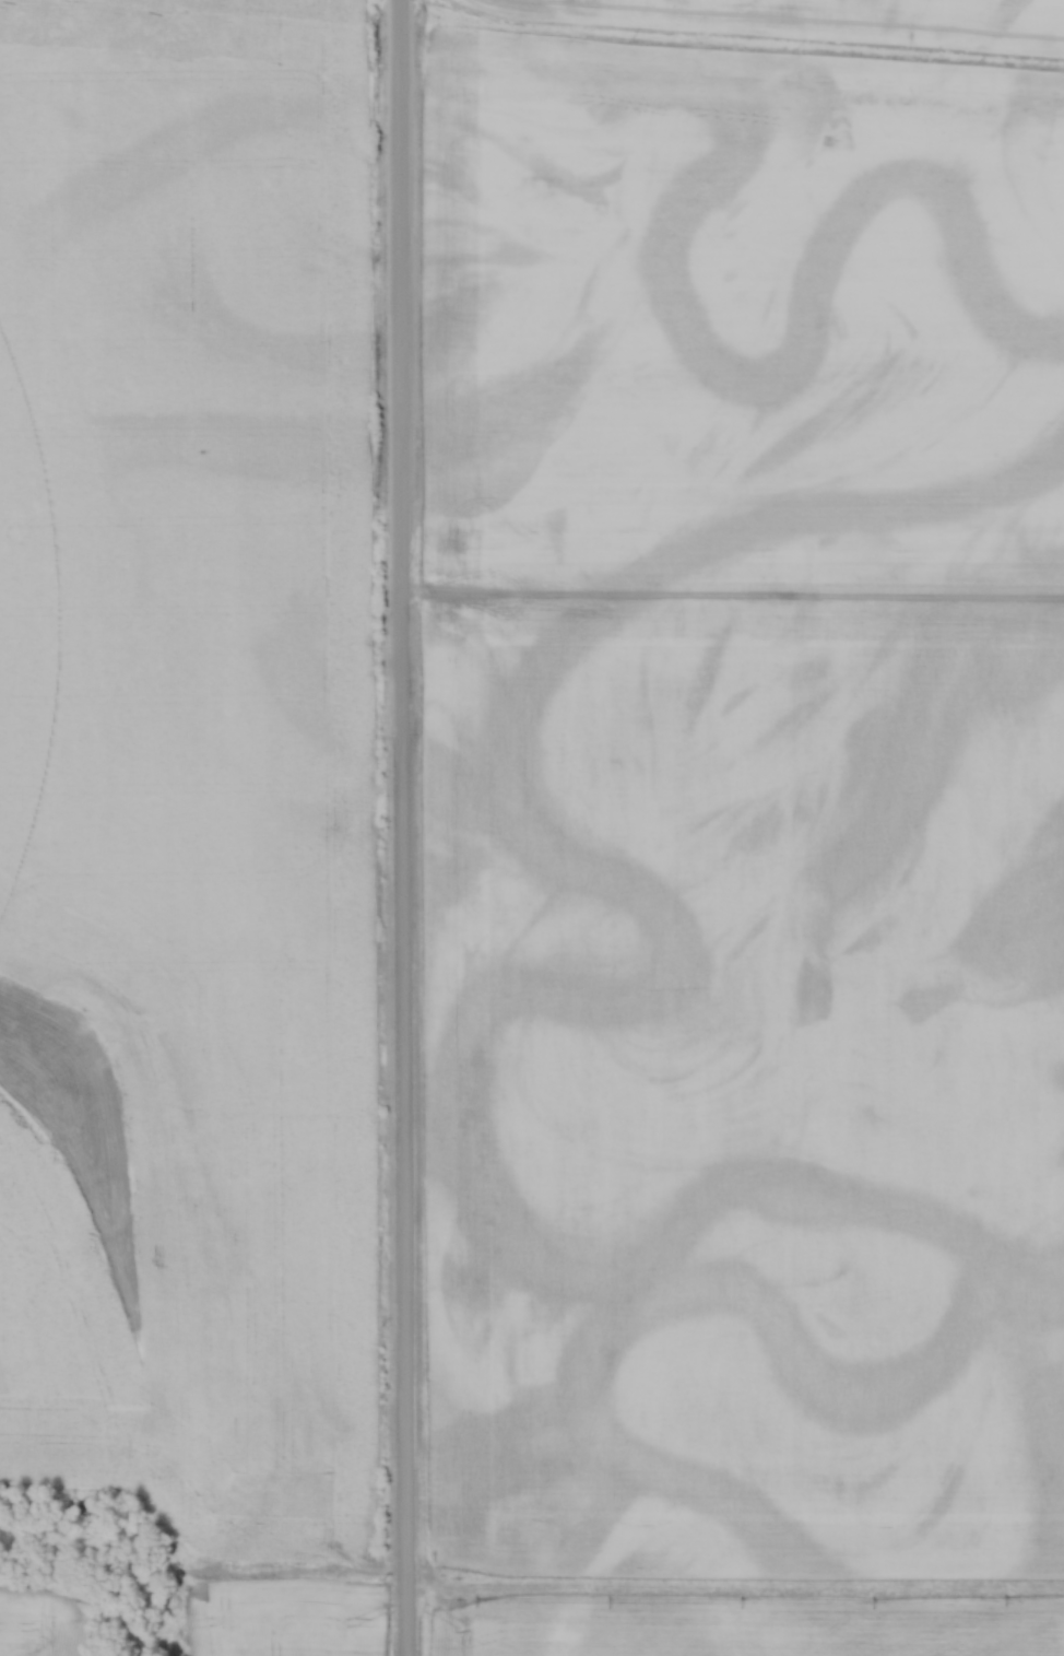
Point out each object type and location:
road: (404, 827)

